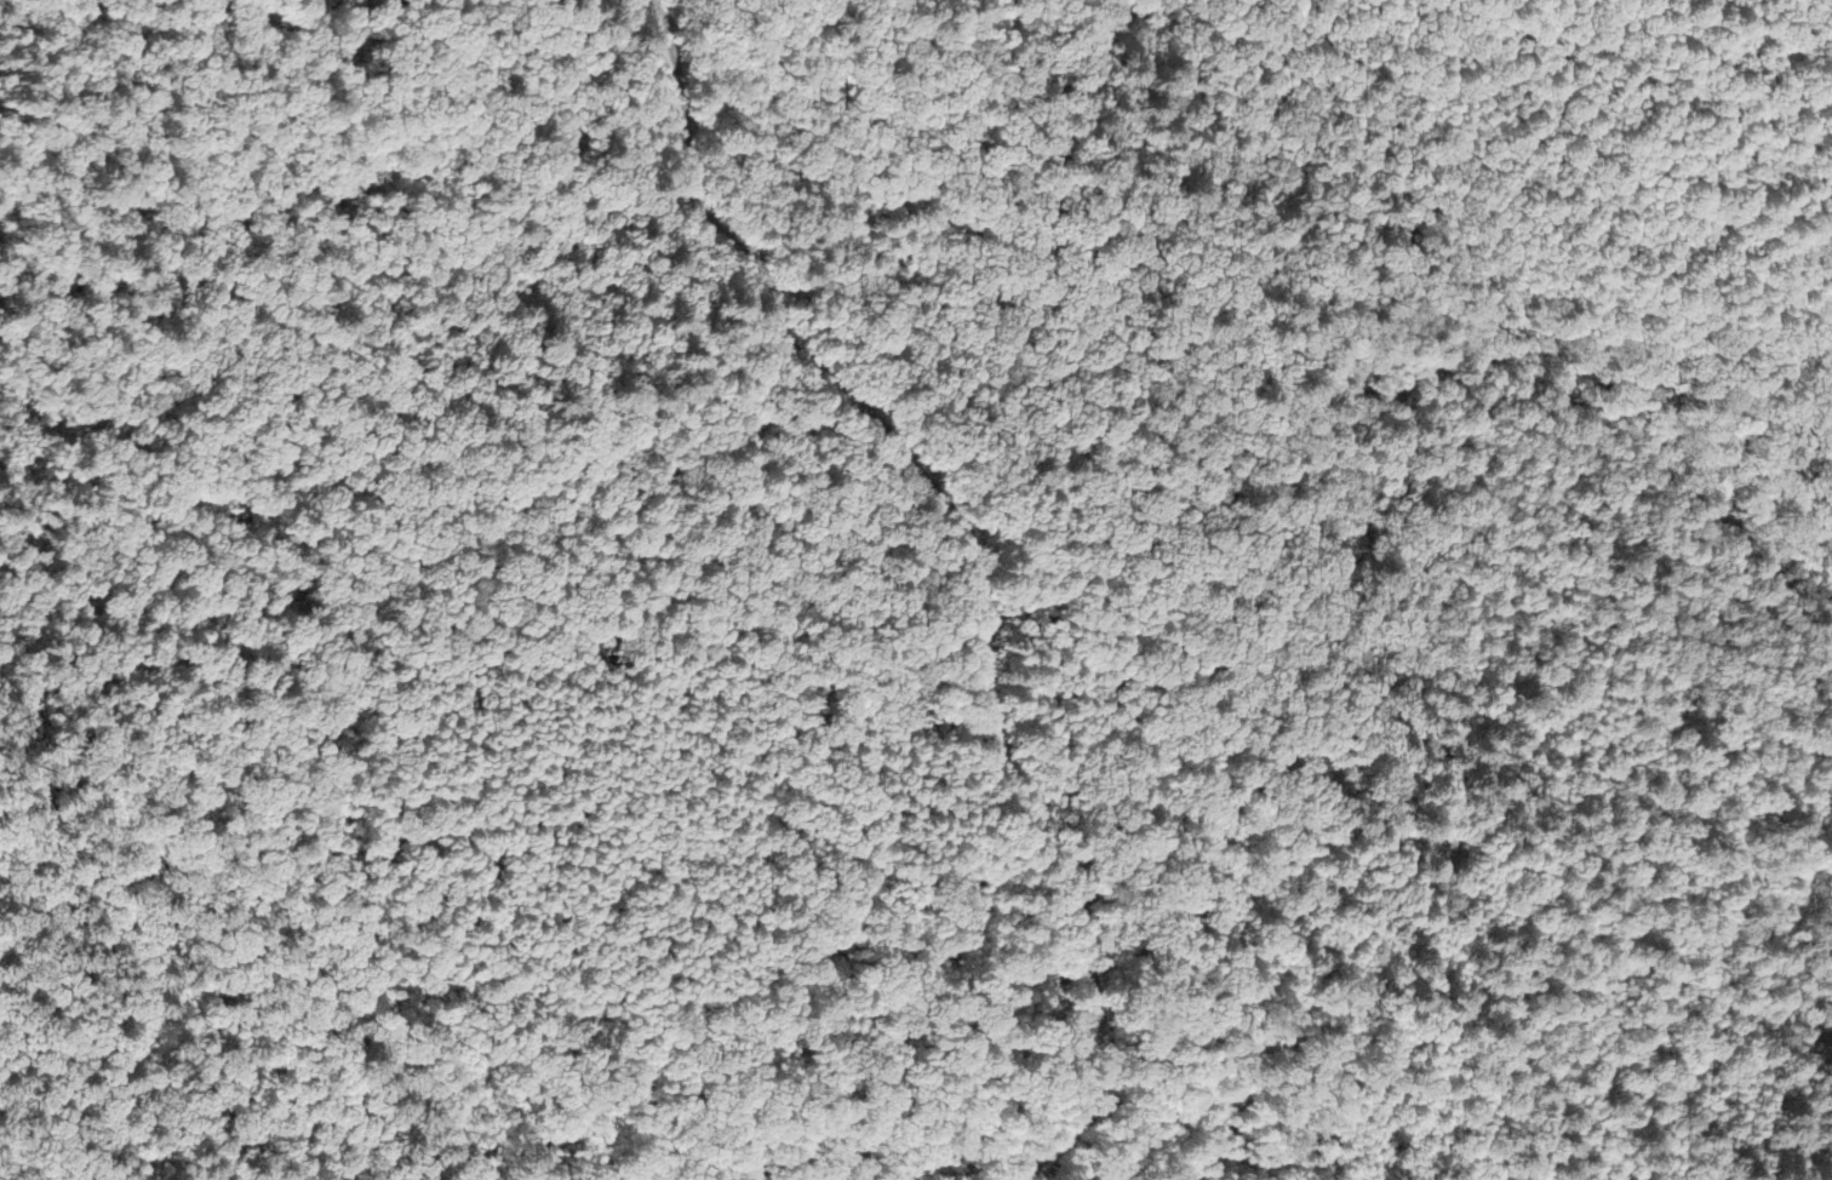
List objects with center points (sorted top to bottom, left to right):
road: (848, 402)
road: (1180, 560)
road: (1094, 998)

